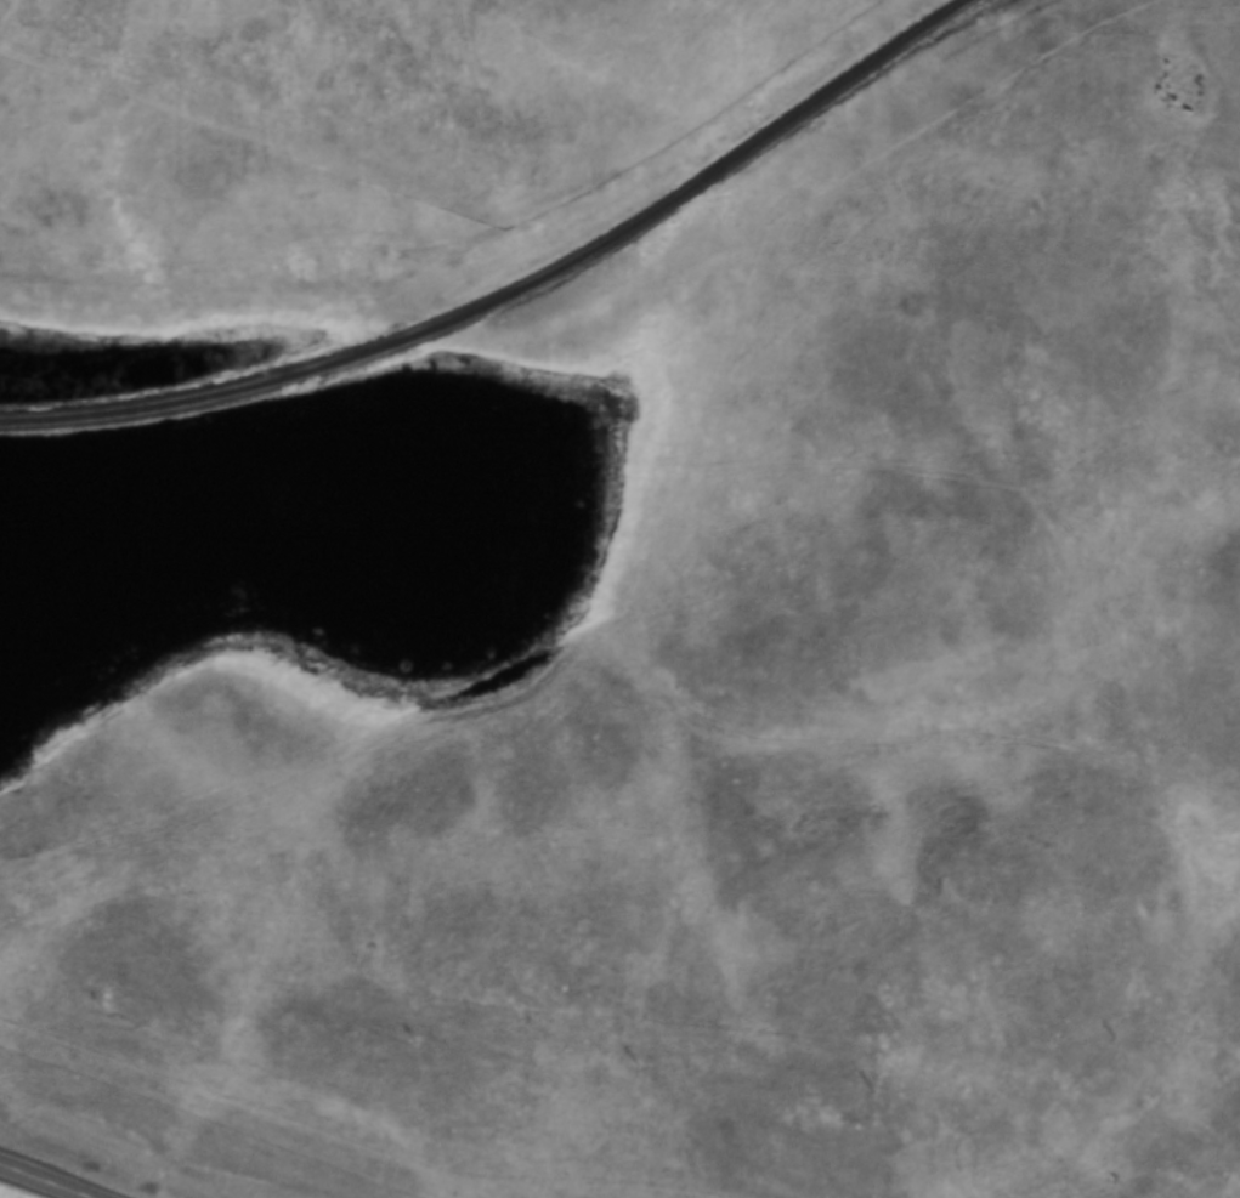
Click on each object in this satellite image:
railway: (519, 294)
road: (35, 1185)

